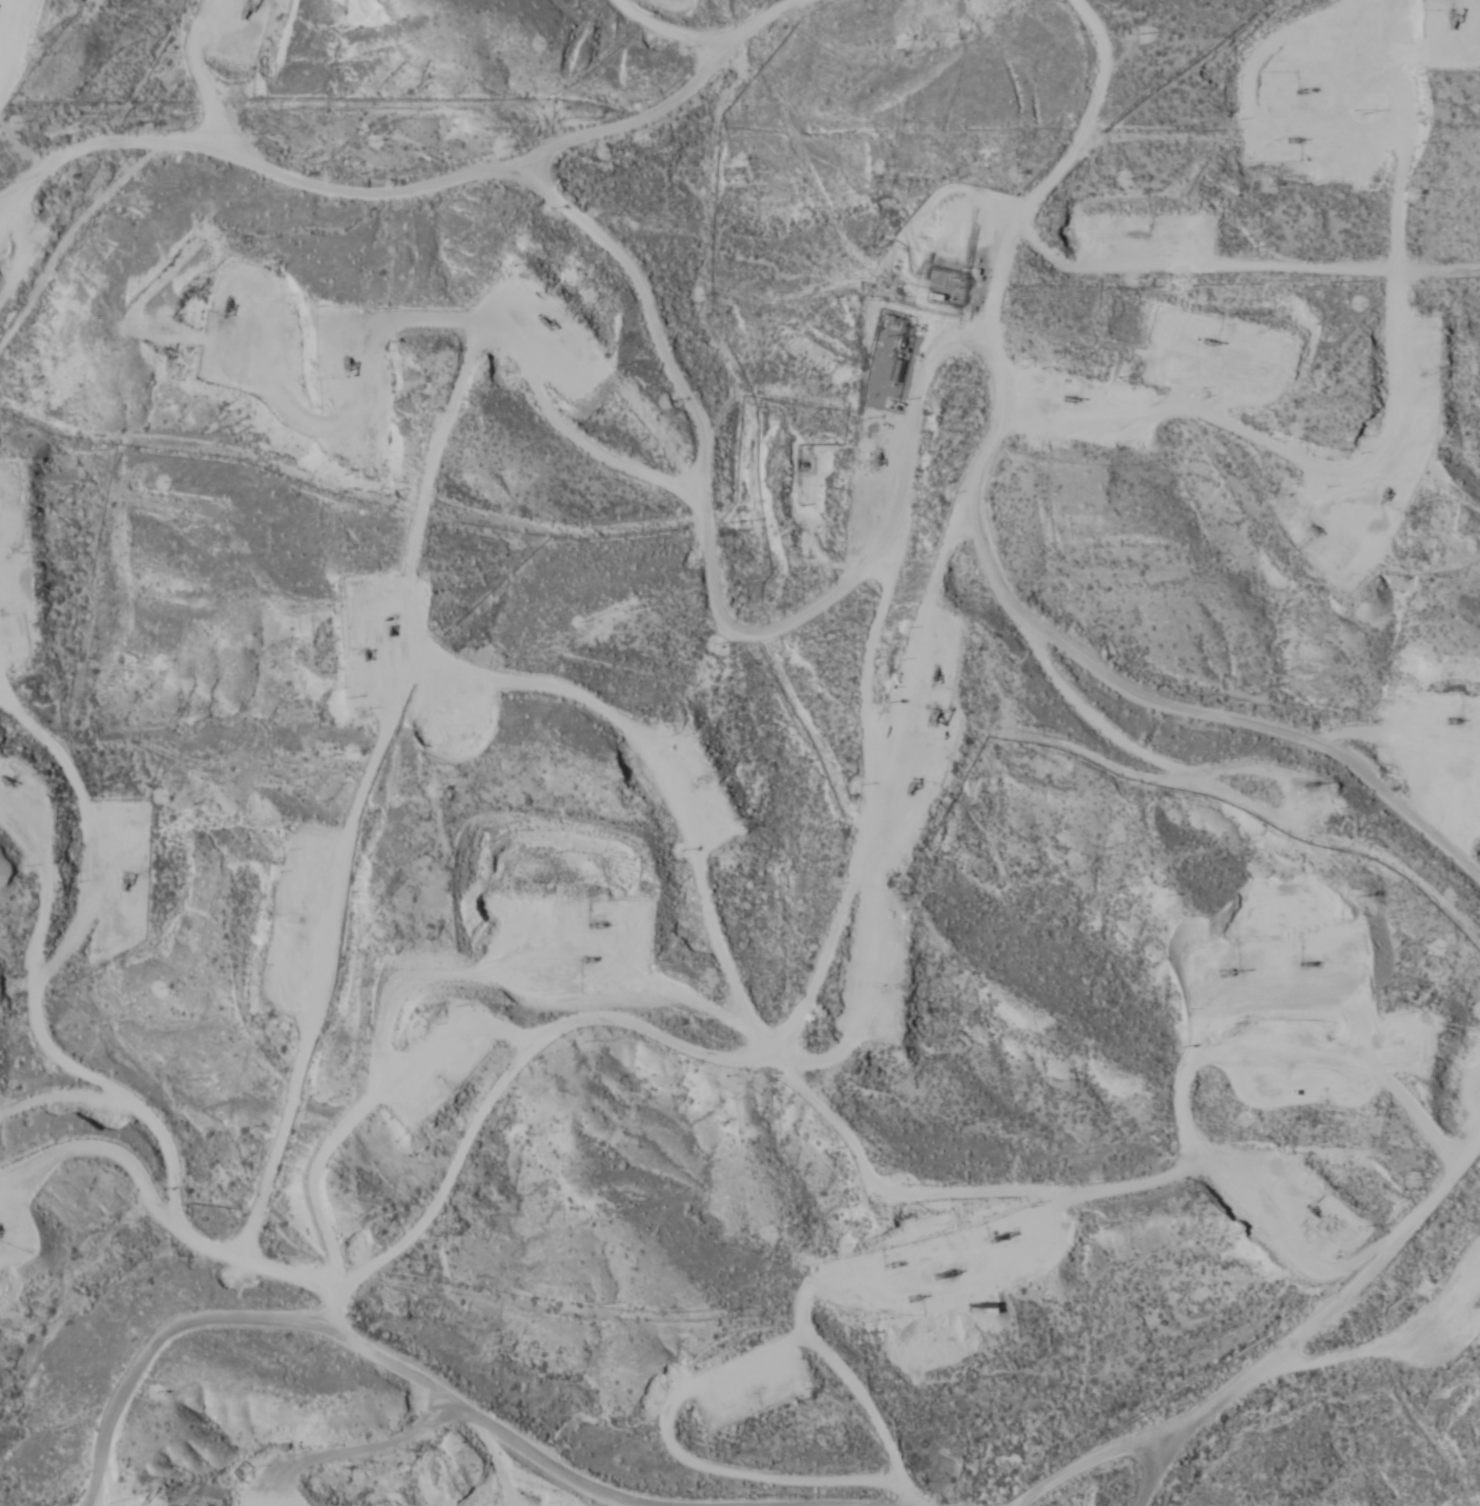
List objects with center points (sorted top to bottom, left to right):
road: (8, 27)
road: (2, 36)
road: (674, 98)
road: (1179, 279)
road: (963, 491)
road: (721, 530)
road: (456, 890)
road: (55, 1043)
road: (927, 1152)
road: (239, 1338)
road: (1289, 1362)
road: (632, 1453)

